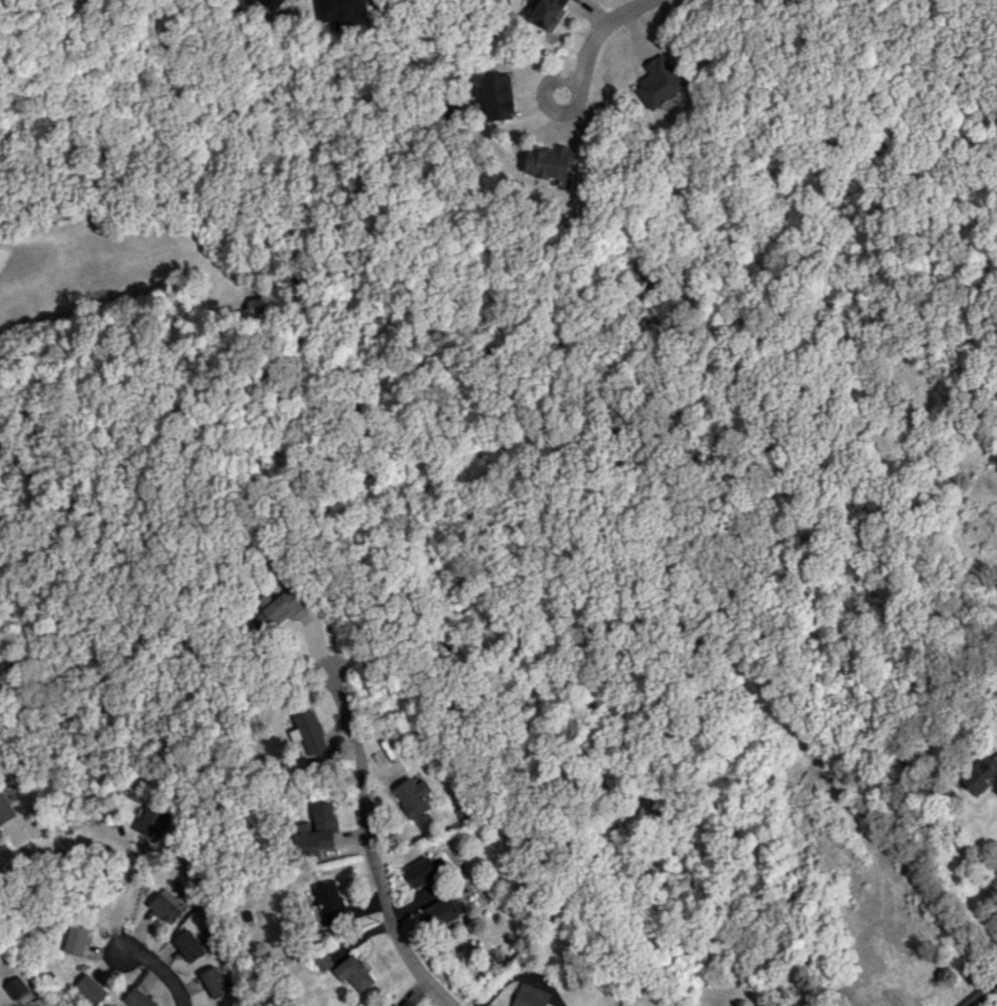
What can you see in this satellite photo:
building: (253, 1)
building: (272, 3)
building: (342, 11)
building: (548, 13)
road: (602, 38)
building: (659, 81)
building: (496, 97)
building: (549, 161)
building: (254, 538)
building: (275, 612)
building: (309, 731)
building: (979, 773)
building: (413, 796)
building: (5, 808)
building: (150, 821)
building: (315, 831)
road: (369, 845)
road: (124, 848)
building: (421, 872)
building: (329, 902)
building: (166, 905)
building: (442, 911)
building: (75, 939)
building: (188, 945)
building: (321, 959)
building: (914, 969)
road: (157, 970)
building: (353, 973)
building: (213, 982)
building: (15, 987)
building: (90, 988)
road: (979, 991)
building: (530, 996)
building: (137, 998)
building: (878, 1002)
building: (394, 1004)

